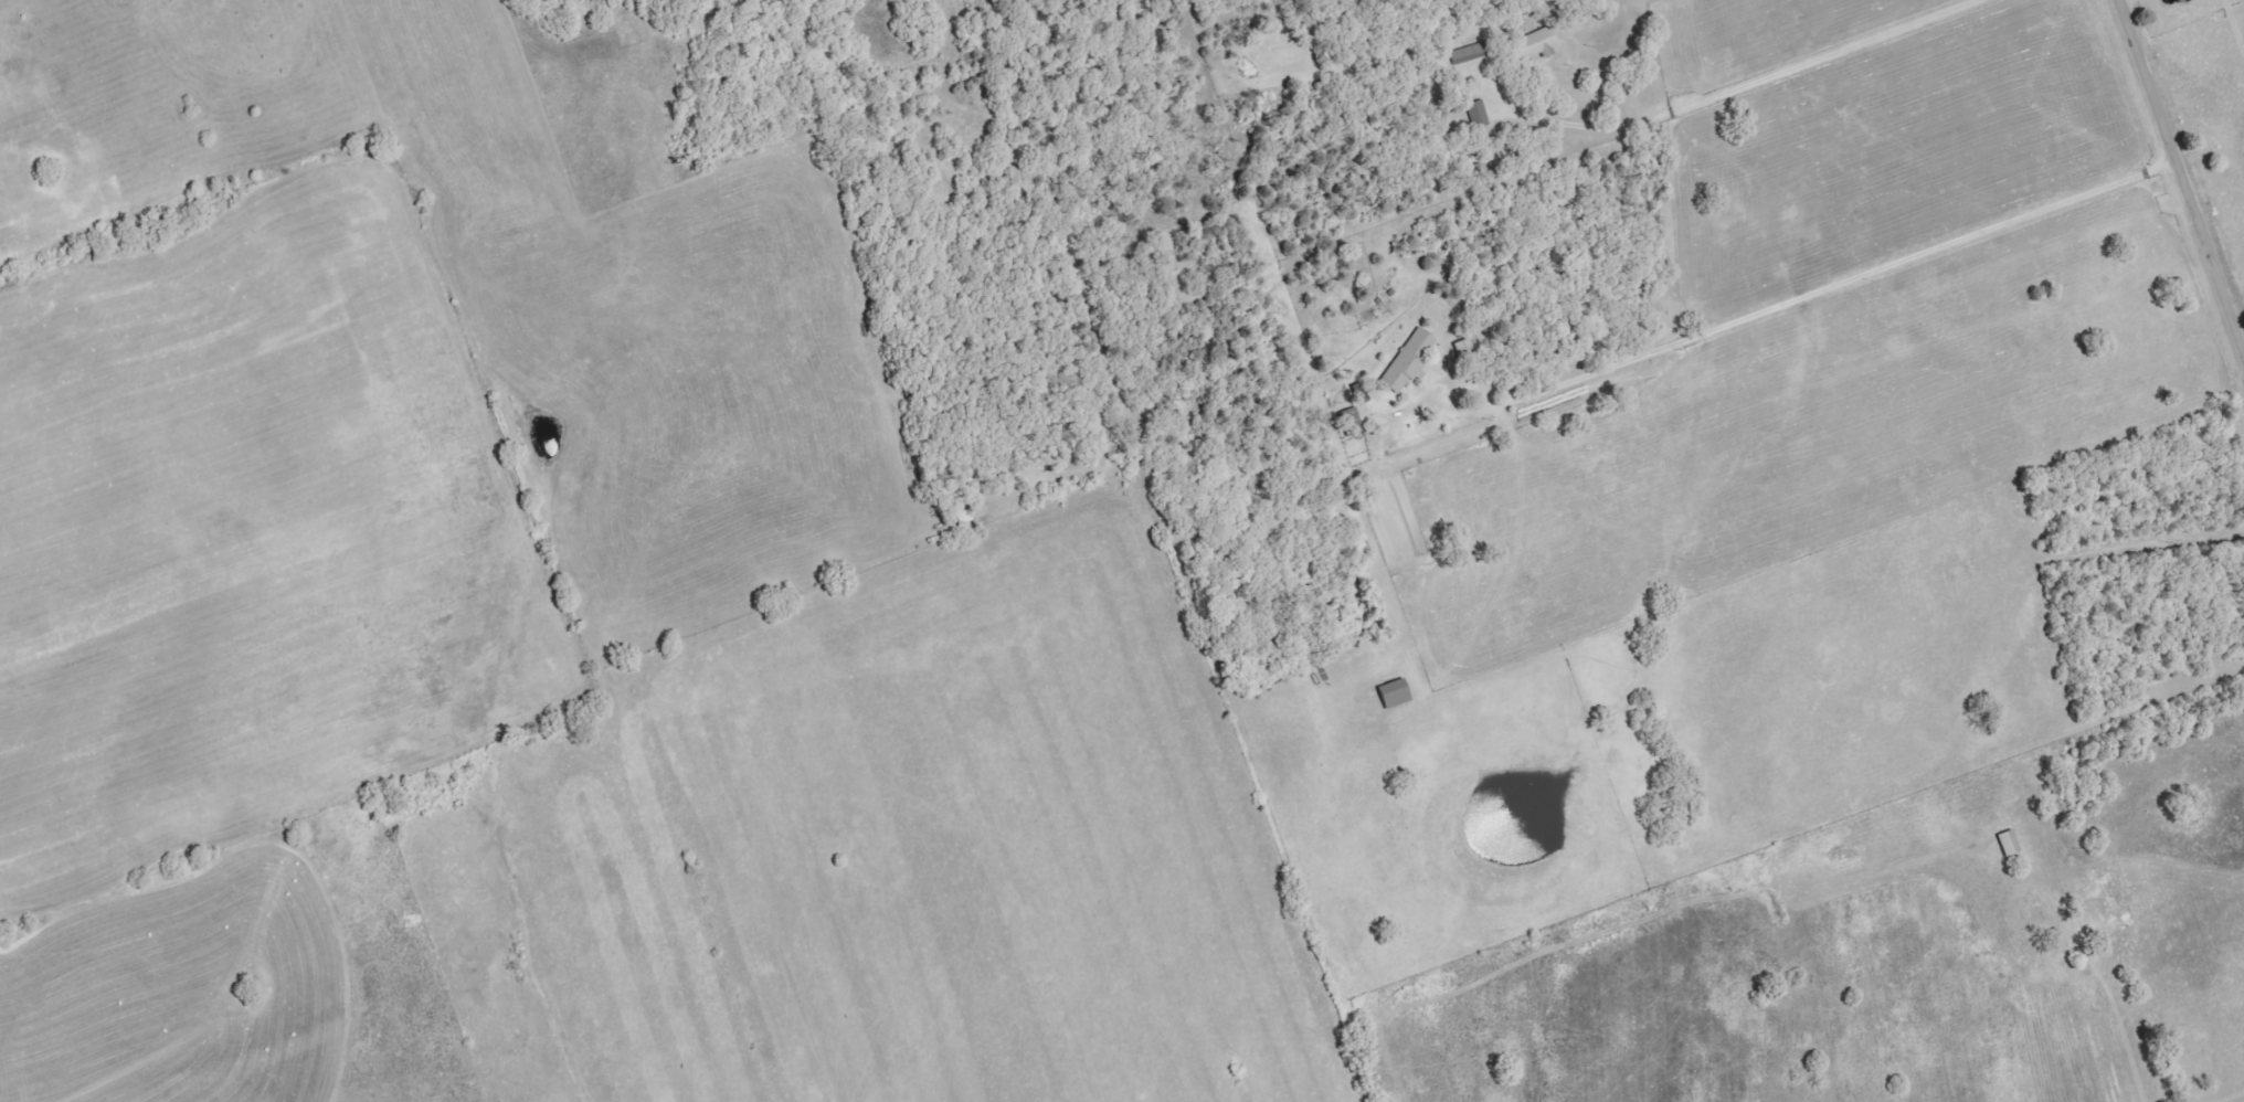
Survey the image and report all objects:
building: (1539, 43)
building: (1472, 53)
road: (1751, 81)
building: (1480, 114)
road: (2181, 186)
road: (1843, 286)
building: (1411, 360)
building: (1353, 422)
road: (2125, 692)
building: (1397, 695)
building: (2011, 844)

